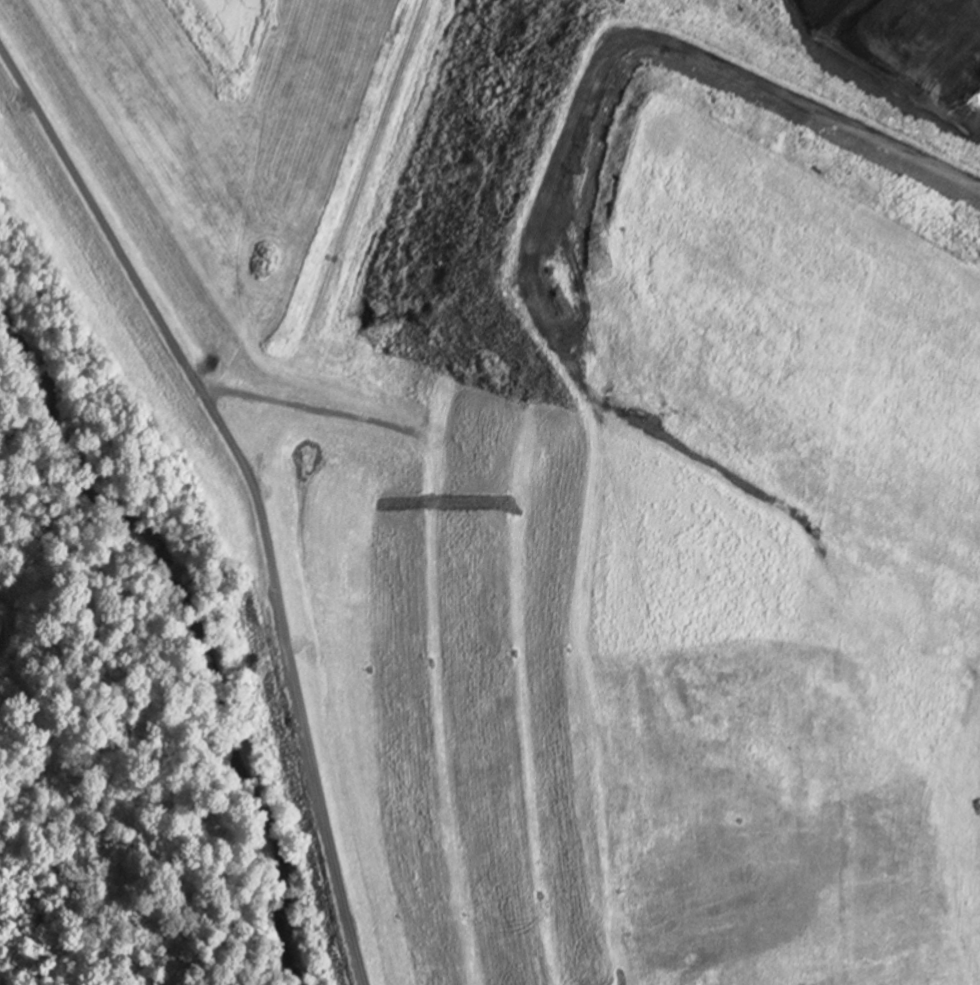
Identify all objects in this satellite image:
road: (253, 492)

